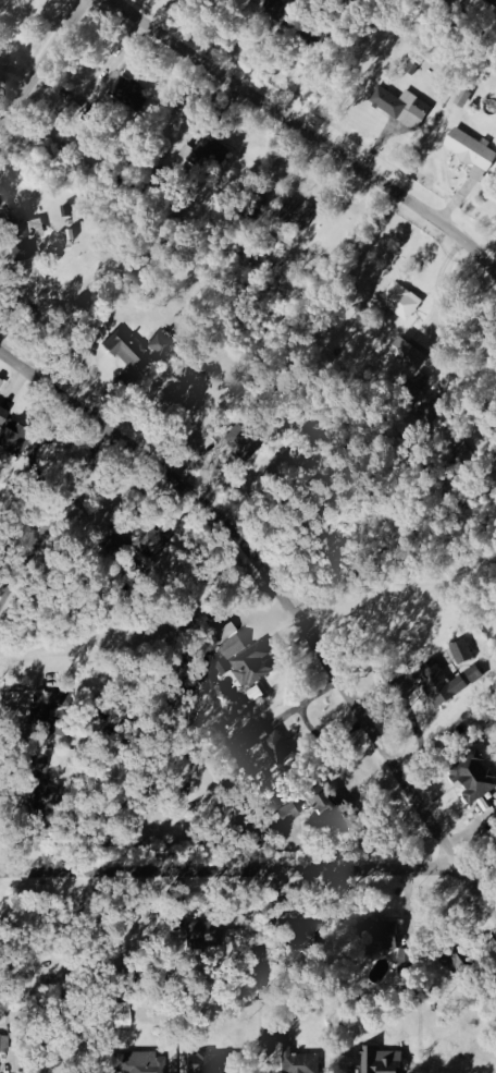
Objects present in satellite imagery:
road: (45, 65)
building: (127, 93)
building: (405, 106)
road: (311, 132)
building: (474, 153)
building: (301, 212)
building: (26, 233)
building: (405, 300)
building: (144, 351)
building: (413, 354)
building: (2, 383)
building: (436, 414)
building: (14, 430)
road: (54, 521)
road: (286, 596)
building: (464, 651)
building: (244, 656)
building: (441, 683)
building: (46, 708)
building: (271, 744)
building: (480, 779)
building: (332, 808)
road: (230, 866)
building: (394, 942)
building: (288, 1046)
building: (385, 1060)
building: (218, 1062)

